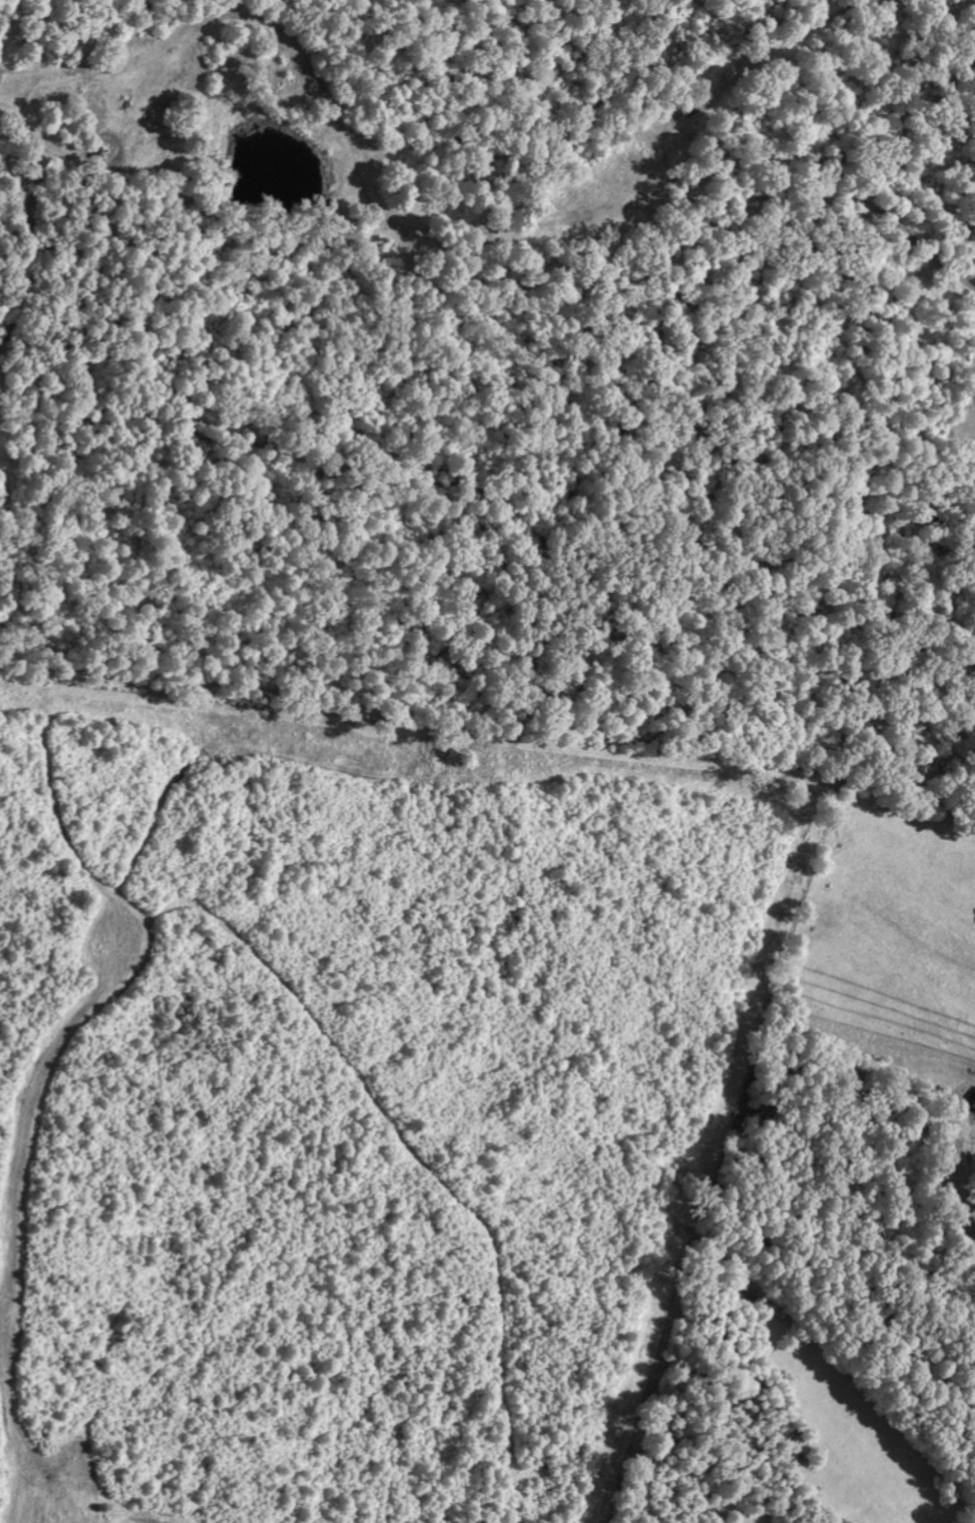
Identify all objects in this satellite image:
building: (972, 1102)

